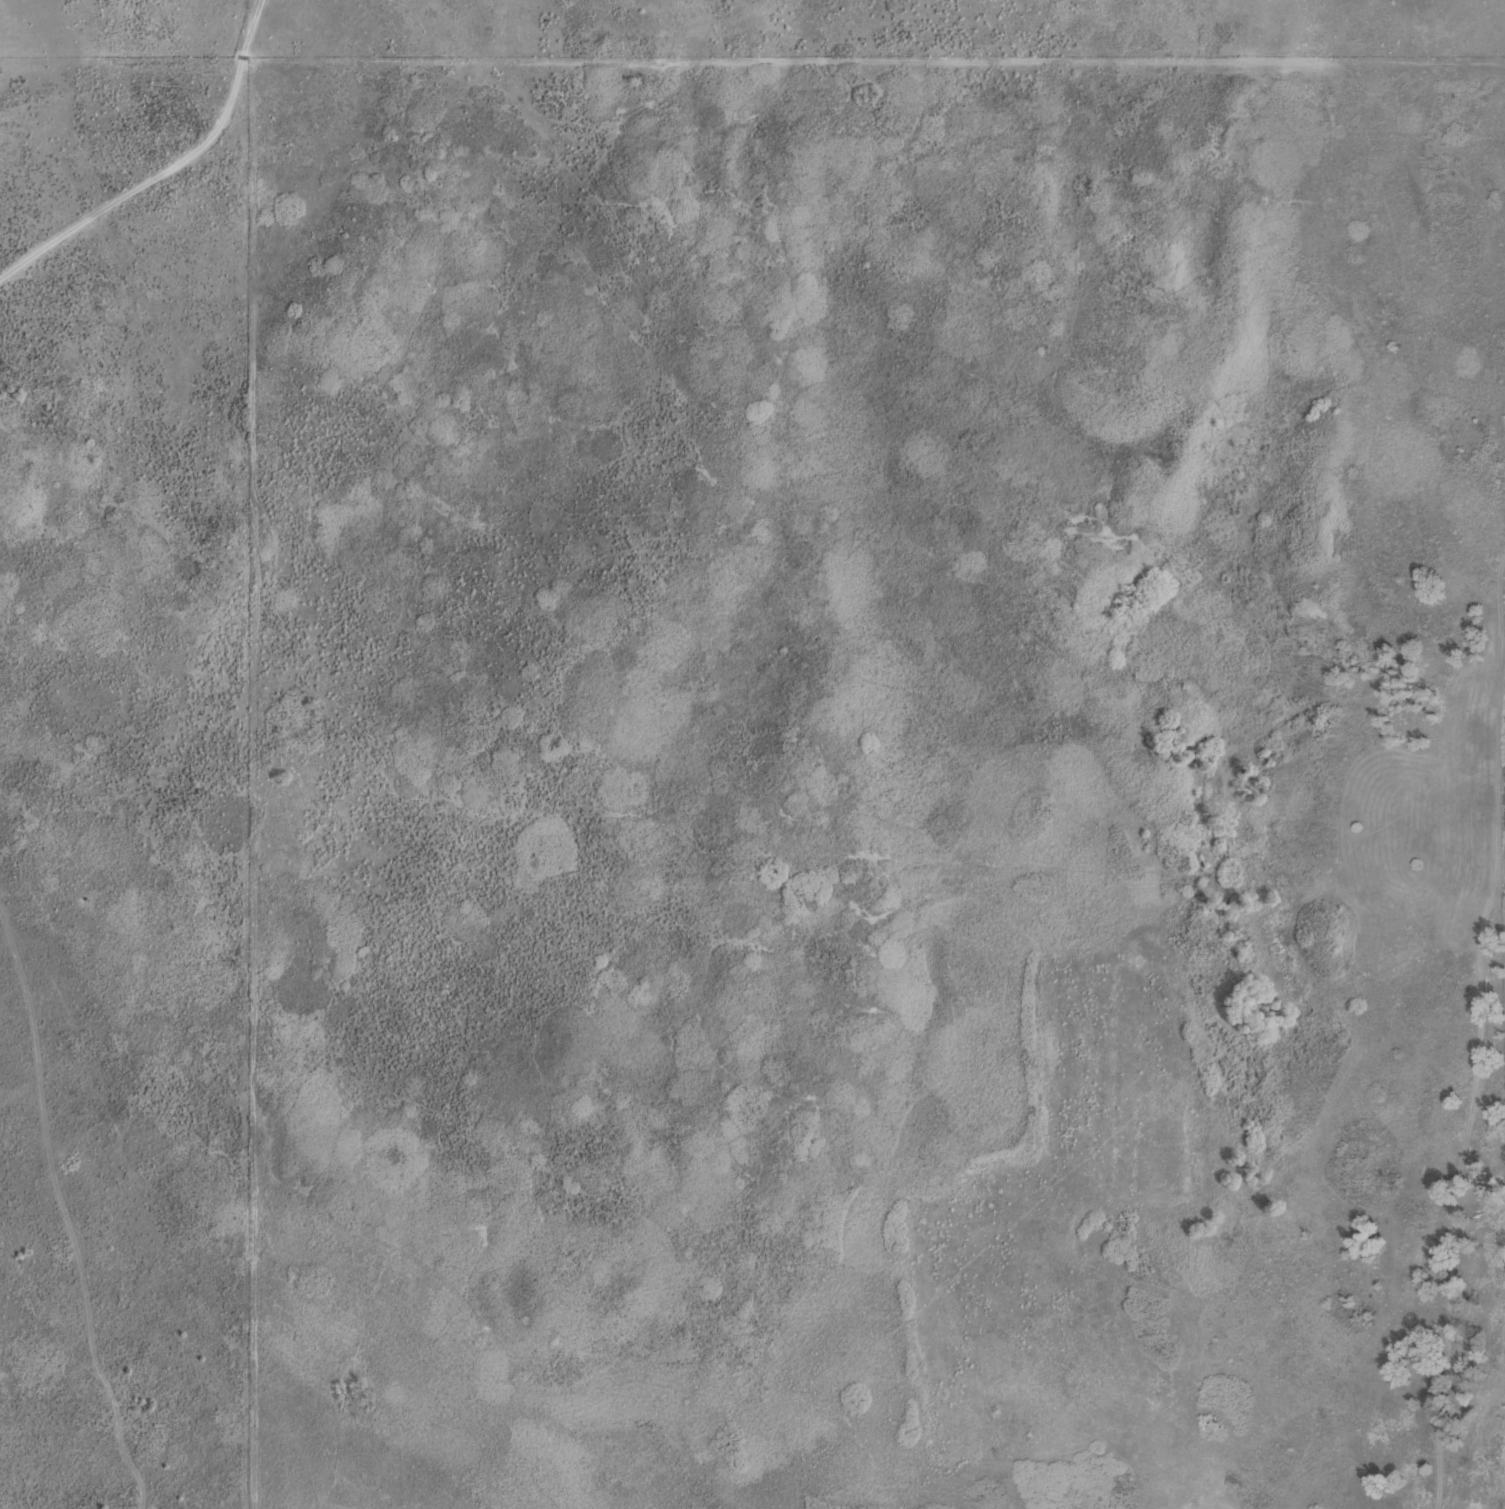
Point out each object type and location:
road: (154, 95)
road: (1464, 1054)

